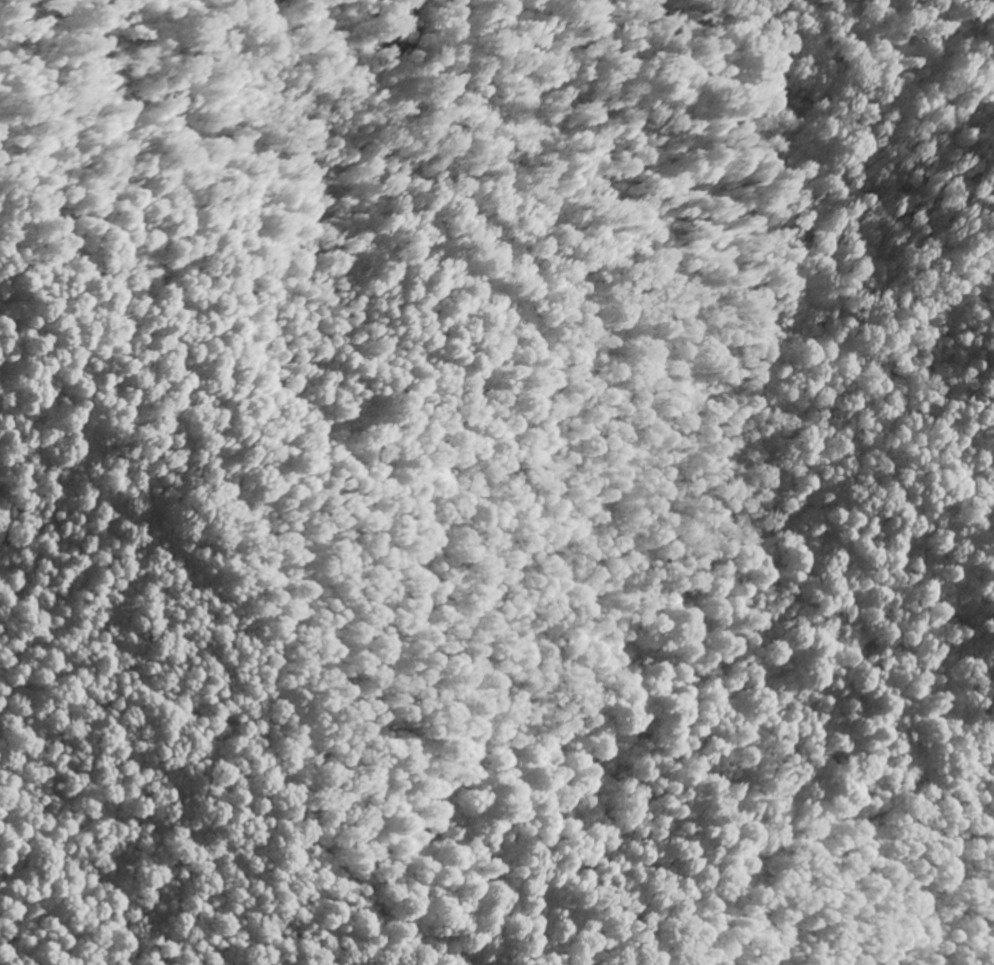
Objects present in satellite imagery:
road: (967, 598)

